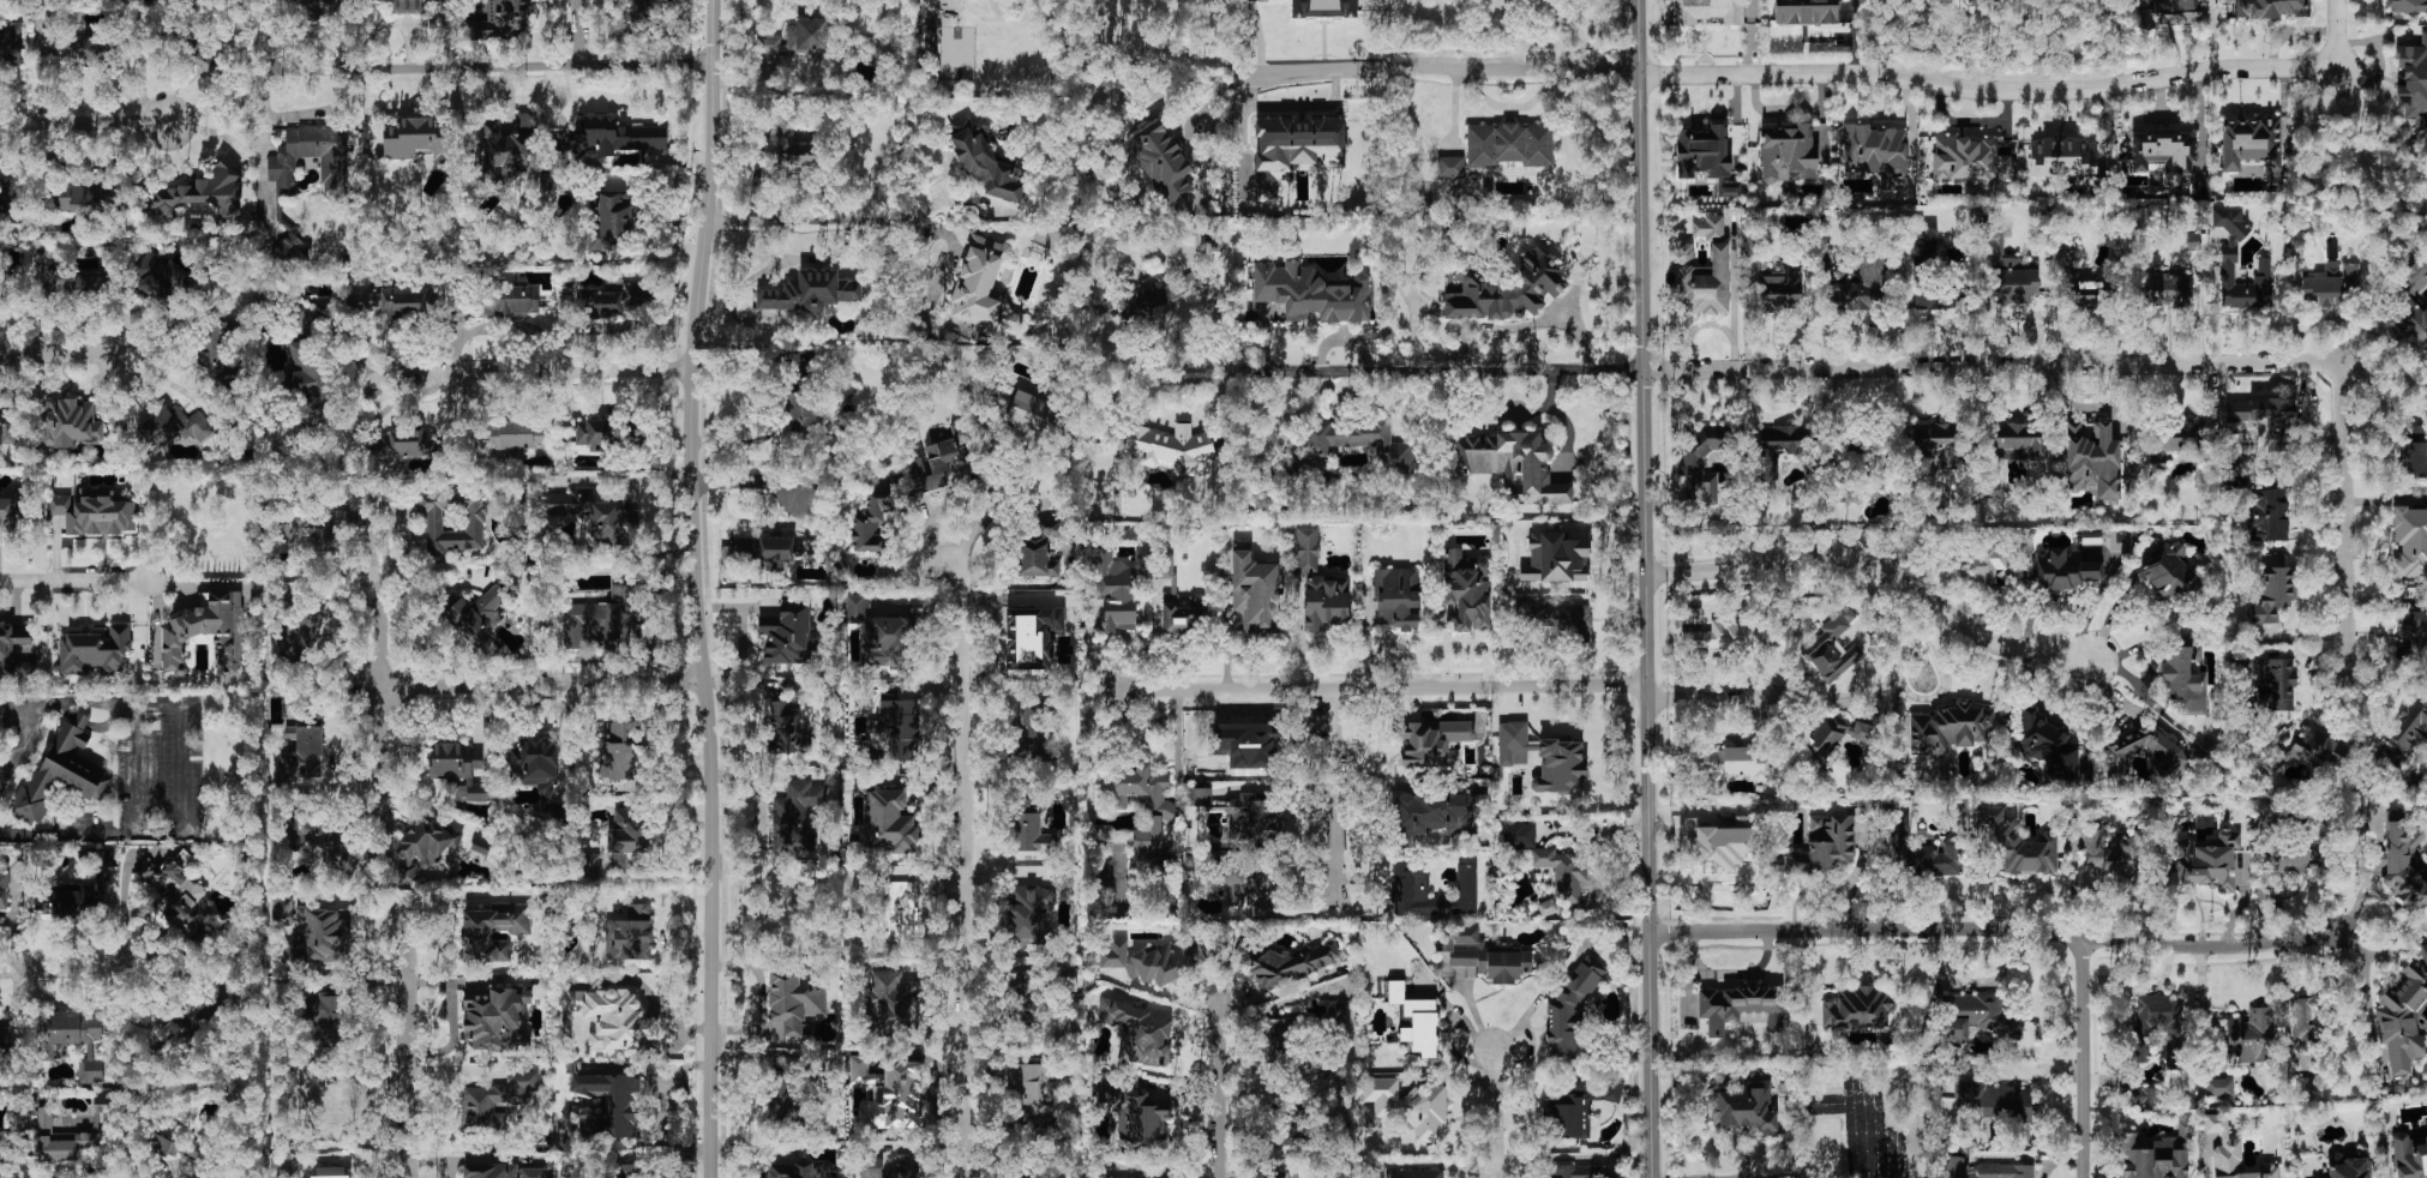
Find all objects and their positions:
building: (408, 6)
building: (2407, 6)
building: (1323, 8)
building: (2270, 8)
building: (1129, 10)
building: (642, 11)
building: (1707, 11)
building: (1806, 12)
building: (2169, 12)
building: (50, 20)
building: (499, 20)
road: (579, 34)
road: (1256, 36)
building: (798, 38)
building: (11, 40)
building: (91, 49)
road: (1190, 55)
building: (206, 65)
road: (536, 67)
road: (1450, 71)
building: (2413, 82)
road: (2023, 91)
road: (83, 121)
road: (1243, 128)
building: (612, 137)
building: (419, 140)
building: (2251, 142)
building: (791, 144)
building: (1509, 145)
building: (507, 148)
building: (1293, 151)
building: (1704, 152)
building: (1789, 154)
building: (1876, 154)
building: (2164, 155)
building: (2062, 157)
building: (985, 161)
building: (1161, 162)
building: (1970, 162)
building: (1450, 167)
building: (281, 169)
building: (1729, 190)
building: (203, 192)
building: (8, 196)
building: (79, 198)
road: (816, 222)
building: (612, 223)
building: (1710, 227)
building: (2188, 241)
building: (1926, 244)
building: (289, 252)
building: (2006, 269)
building: (2263, 270)
building: (160, 278)
building: (2414, 278)
building: (2077, 281)
building: (1702, 282)
building: (73, 284)
building: (2330, 284)
building: (1861, 287)
building: (984, 288)
building: (1507, 289)
road: (1732, 289)
building: (1782, 289)
building: (2168, 289)
building: (810, 293)
building: (1310, 294)
building: (617, 299)
building: (1935, 299)
building: (511, 300)
building: (392, 302)
road: (2201, 309)
building: (2410, 314)
road: (1698, 325)
building: (217, 351)
road: (80, 357)
road: (1994, 365)
road: (1396, 367)
road: (2384, 371)
road: (558, 372)
building: (308, 373)
building: (800, 409)
building: (1022, 409)
road: (1562, 417)
building: (7, 423)
building: (70, 423)
building: (2261, 428)
building: (2414, 429)
building: (611, 435)
building: (2017, 438)
building: (2169, 441)
building: (1360, 443)
building: (403, 444)
building: (1936, 444)
building: (1169, 447)
building: (1779, 447)
building: (2091, 459)
building: (2413, 459)
building: (1701, 461)
building: (938, 462)
building: (1513, 465)
road: (747, 483)
building: (1992, 486)
building: (96, 511)
road: (987, 511)
road: (2343, 513)
building: (594, 515)
building: (7, 516)
building: (2267, 517)
building: (450, 521)
building: (325, 524)
building: (871, 524)
building: (2410, 541)
building: (758, 551)
building: (1039, 551)
building: (1306, 551)
building: (1555, 559)
building: (1990, 565)
road: (1878, 567)
building: (2065, 569)
building: (2170, 575)
road: (74, 581)
road: (693, 588)
building: (1467, 589)
road: (1648, 589)
building: (1116, 593)
building: (2270, 593)
building: (1169, 594)
building: (1396, 599)
building: (1323, 602)
building: (476, 615)
building: (602, 618)
road: (2110, 618)
building: (1555, 619)
building: (208, 633)
building: (300, 633)
road: (382, 635)
building: (2411, 635)
building: (788, 636)
building: (879, 636)
building: (1032, 636)
building: (1722, 636)
road: (2141, 645)
building: (1833, 647)
building: (95, 651)
building: (6, 653)
building: (2185, 680)
road: (543, 681)
building: (2275, 684)
road: (1378, 689)
road: (2145, 692)
road: (1705, 699)
building: (785, 727)
building: (1029, 728)
building: (1950, 728)
building: (2408, 732)
building: (1834, 737)
building: (1431, 743)
building: (1246, 744)
building: (2048, 745)
building: (618, 749)
road: (382, 751)
road: (20, 755)
building: (301, 756)
building: (1543, 759)
building: (2168, 763)
building: (1732, 765)
road: (180, 768)
road: (5, 770)
building: (458, 770)
building: (62, 771)
road: (140, 771)
building: (537, 775)
road: (1339, 793)
building: (1200, 797)
building: (1435, 813)
building: (794, 816)
building: (1160, 816)
building: (1254, 818)
building: (890, 822)
building: (1029, 829)
road: (1597, 830)
building: (629, 831)
building: (1513, 836)
building: (325, 845)
building: (1825, 845)
building: (2017, 845)
building: (425, 846)
building: (480, 846)
building: (1921, 851)
building: (2111, 852)
building: (2300, 858)
building: (2206, 860)
building: (2401, 861)
road: (965, 865)
building: (1562, 872)
building: (1410, 881)
building: (78, 890)
building: (4, 891)
building: (178, 897)
building: (1548, 909)
building: (282, 912)
building: (897, 914)
building: (1031, 914)
road: (2011, 930)
building: (493, 932)
building: (629, 934)
building: (323, 936)
building: (1485, 955)
building: (1154, 961)
building: (1291, 964)
road: (64, 967)
road: (1281, 991)
road: (1543, 994)
building: (794, 1003)
building: (1857, 1008)
building: (1740, 1009)
building: (1570, 1010)
building: (1336, 1016)
building: (1980, 1016)
building: (326, 1018)
building: (614, 1018)
building: (2403, 1018)
building: (498, 1020)
building: (1416, 1021)
building: (2306, 1022)
building: (2157, 1023)
building: (1141, 1032)
building: (2249, 1036)
building: (5, 1039)
building: (1276, 1039)
building: (73, 1040)
road: (409, 1044)
road: (1528, 1057)
road: (2084, 1058)
building: (861, 1071)
road: (2031, 1071)
building: (2306, 1086)
building: (2219, 1087)
road: (1221, 1089)
building: (1034, 1094)
building: (497, 1096)
building: (2138, 1096)
building: (781, 1098)
building: (894, 1098)
building: (103, 1104)
building: (1998, 1104)
building: (611, 1105)
building: (1408, 1106)
building: (1578, 1108)
building: (1746, 1108)
building: (334, 1111)
road: (1495, 1113)
building: (1136, 1116)
building: (2426, 1126)
building: (61, 1140)
building: (175, 1144)
building: (1, 1149)
building: (2231, 1153)
building: (2155, 1155)
building: (2409, 1156)
building: (871, 1165)
road: (1442, 1166)
building: (2348, 1167)
building: (282, 1168)
building: (1959, 1168)
building: (798, 1170)
road: (1758, 1170)
building: (505, 1171)
building: (2005, 1171)
building: (330, 1172)
building: (621, 1172)
building: (1572, 1172)
building: (1414, 1173)
building: (1286, 1174)
building: (1106, 1177)

